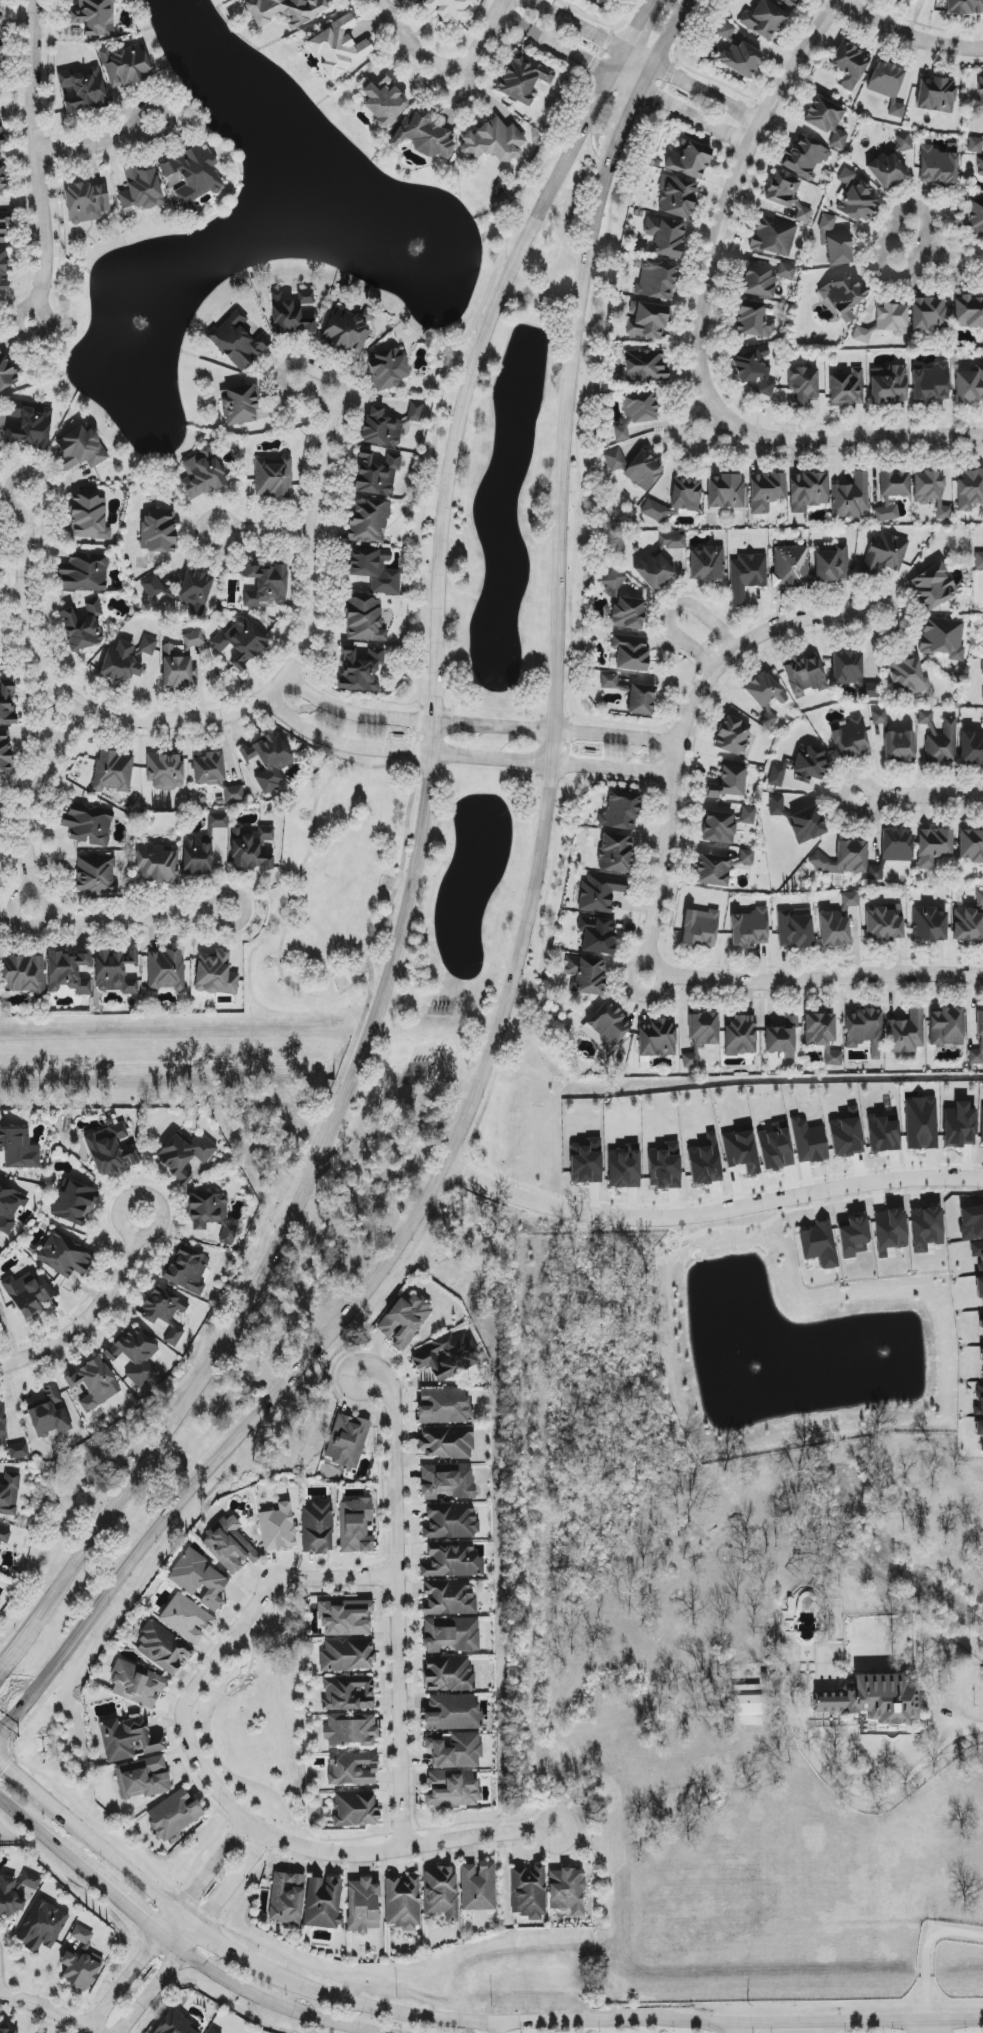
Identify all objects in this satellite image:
building: (916, 0)
building: (1, 1)
building: (790, 3)
building: (964, 7)
building: (445, 8)
building: (284, 10)
building: (94, 17)
building: (764, 20)
building: (0, 37)
road: (481, 41)
road: (906, 41)
road: (412, 44)
building: (338, 47)
building: (737, 53)
road: (648, 54)
building: (849, 64)
building: (125, 66)
building: (522, 79)
road: (620, 79)
building: (888, 85)
building: (84, 89)
building: (979, 91)
building: (936, 94)
building: (383, 102)
building: (826, 120)
building: (0, 132)
building: (424, 135)
building: (493, 141)
road: (95, 144)
building: (975, 145)
building: (803, 156)
building: (689, 160)
road: (37, 162)
building: (890, 163)
building: (939, 165)
building: (980, 166)
building: (1, 174)
building: (195, 175)
building: (140, 189)
building: (787, 196)
building: (676, 197)
building: (855, 197)
building: (86, 202)
building: (974, 216)
building: (827, 223)
building: (4, 224)
building: (665, 236)
building: (773, 236)
fountain: (420, 245)
building: (839, 250)
road: (940, 258)
building: (2, 269)
building: (765, 277)
building: (656, 280)
building: (843, 295)
building: (968, 312)
building: (292, 313)
building: (929, 314)
building: (892, 318)
fountain: (146, 320)
building: (752, 320)
building: (648, 322)
road: (700, 324)
building: (345, 332)
building: (862, 335)
building: (239, 340)
building: (645, 366)
building: (755, 369)
building: (388, 370)
building: (6, 372)
building: (930, 384)
building: (802, 385)
building: (888, 385)
building: (969, 385)
building: (846, 389)
building: (239, 405)
building: (640, 407)
building: (415, 412)
building: (30, 427)
building: (381, 428)
building: (621, 433)
building: (0, 448)
building: (80, 449)
building: (634, 467)
building: (202, 473)
building: (376, 473)
building: (272, 477)
building: (894, 484)
building: (969, 489)
building: (725, 491)
building: (766, 491)
building: (807, 491)
building: (930, 492)
road: (41, 496)
building: (850, 497)
building: (675, 500)
building: (88, 518)
building: (369, 522)
building: (158, 531)
road: (265, 532)
building: (884, 553)
building: (978, 560)
building: (664, 561)
building: (707, 564)
building: (831, 564)
building: (790, 567)
building: (83, 573)
building: (746, 576)
building: (614, 581)
building: (933, 586)
building: (266, 587)
building: (183, 591)
building: (627, 613)
road: (818, 617)
building: (364, 620)
building: (83, 625)
building: (943, 638)
building: (193, 639)
road: (752, 639)
building: (241, 642)
building: (630, 653)
building: (127, 659)
road: (728, 659)
building: (178, 667)
building: (982, 668)
building: (359, 671)
building: (852, 673)
building: (804, 676)
building: (907, 677)
road: (284, 680)
building: (610, 681)
building: (764, 690)
building: (640, 700)
building: (7, 703)
building: (926, 719)
building: (768, 720)
road: (477, 726)
building: (732, 735)
road: (676, 736)
building: (850, 739)
building: (899, 747)
building: (971, 748)
building: (5, 750)
road: (458, 759)
building: (267, 761)
building: (809, 765)
building: (208, 768)
building: (113, 771)
building: (166, 772)
building: (776, 776)
building: (729, 783)
road: (917, 794)
building: (233, 795)
building: (776, 805)
building: (620, 812)
road: (423, 815)
building: (217, 821)
building: (725, 824)
building: (807, 825)
building: (87, 826)
building: (896, 845)
building: (933, 846)
building: (971, 846)
building: (250, 848)
building: (616, 853)
building: (198, 854)
building: (844, 858)
building: (156, 864)
building: (719, 867)
building: (875, 873)
building: (95, 875)
building: (599, 893)
building: (849, 901)
road: (29, 903)
building: (884, 922)
building: (969, 922)
building: (929, 924)
building: (699, 928)
building: (749, 929)
building: (833, 929)
building: (794, 930)
building: (597, 936)
road: (519, 937)
building: (167, 971)
road: (810, 971)
building: (68, 972)
building: (116, 972)
building: (23, 974)
building: (215, 974)
building: (586, 975)
building: (607, 1026)
building: (946, 1027)
building: (703, 1028)
building: (819, 1029)
building: (864, 1030)
building: (906, 1033)
building: (740, 1036)
building: (781, 1036)
building: (976, 1037)
building: (657, 1038)
building: (690, 1059)
building: (833, 1059)
building: (921, 1123)
building: (959, 1126)
building: (982, 1128)
building: (882, 1134)
building: (845, 1137)
building: (808, 1141)
building: (775, 1147)
building: (18, 1149)
building: (110, 1150)
building: (740, 1151)
building: (184, 1155)
building: (623, 1169)
building: (74, 1203)
building: (10, 1207)
building: (211, 1214)
road: (709, 1215)
road: (120, 1220)
building: (971, 1222)
building: (890, 1229)
building: (926, 1229)
building: (853, 1237)
building: (819, 1245)
building: (65, 1255)
building: (187, 1269)
building: (979, 1287)
building: (29, 1294)
building: (163, 1315)
road: (86, 1319)
building: (404, 1321)
building: (980, 1321)
building: (134, 1355)
building: (981, 1355)
building: (446, 1356)
fountain: (884, 1361)
fountain: (758, 1375)
building: (93, 1383)
road: (374, 1388)
building: (979, 1400)
building: (444, 1406)
building: (49, 1413)
building: (2, 1422)
building: (979, 1431)
building: (346, 1441)
building: (447, 1442)
building: (18, 1451)
building: (447, 1482)
building: (9, 1493)
building: (450, 1521)
building: (355, 1526)
building: (277, 1528)
building: (317, 1528)
building: (4, 1536)
building: (229, 1546)
building: (452, 1561)
building: (199, 1580)
building: (448, 1598)
road: (396, 1613)
building: (345, 1617)
road: (29, 1625)
building: (174, 1633)
building: (451, 1635)
building: (347, 1655)
road: (216, 1659)
building: (448, 1675)
building: (136, 1684)
building: (348, 1693)
building: (873, 1699)
building: (747, 1705)
road: (386, 1712)
building: (453, 1713)
road: (210, 1716)
road: (965, 1727)
building: (351, 1730)
building: (129, 1740)
road: (9, 1751)
traffic signals: (11, 1769)
building: (352, 1769)
building: (143, 1778)
building: (452, 1789)
road: (36, 1790)
building: (355, 1809)
building: (172, 1815)
road: (44, 1836)
road: (410, 1846)
road: (126, 1866)
road: (213, 1868)
road: (235, 1882)
building: (478, 1886)
building: (567, 1891)
building: (528, 1892)
building: (15, 1893)
building: (441, 1893)
building: (286, 1898)
building: (323, 1902)
building: (403, 1902)
building: (363, 1905)
road: (136, 1915)
building: (42, 1926)
road: (216, 1936)
road: (926, 1950)
road: (132, 1969)
road: (162, 1980)
road: (277, 2004)
road: (48, 2009)
road: (904, 2019)
road: (774, 2022)
road: (481, 2023)
building: (175, 2025)
road: (925, 2025)
road: (723, 2027)
road: (499, 2028)
building: (8, 2031)
building: (211, 2031)

